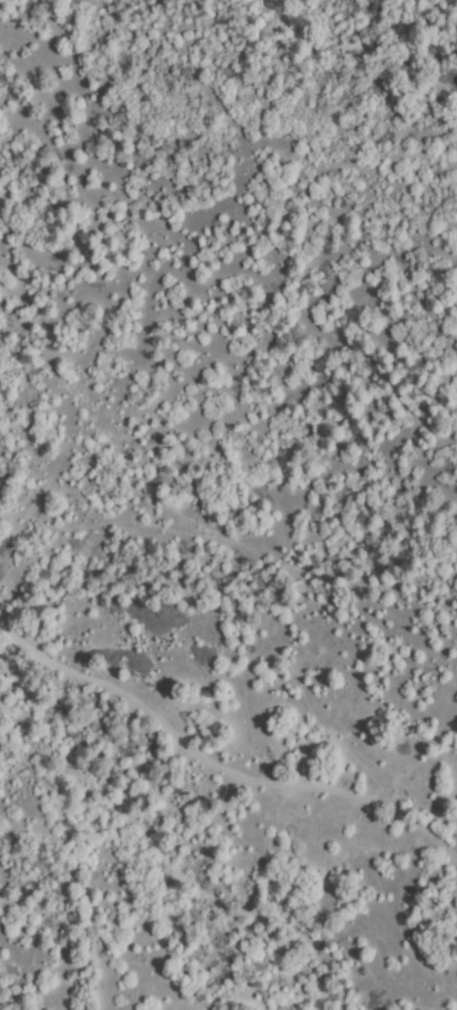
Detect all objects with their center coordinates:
road: (220, 773)

